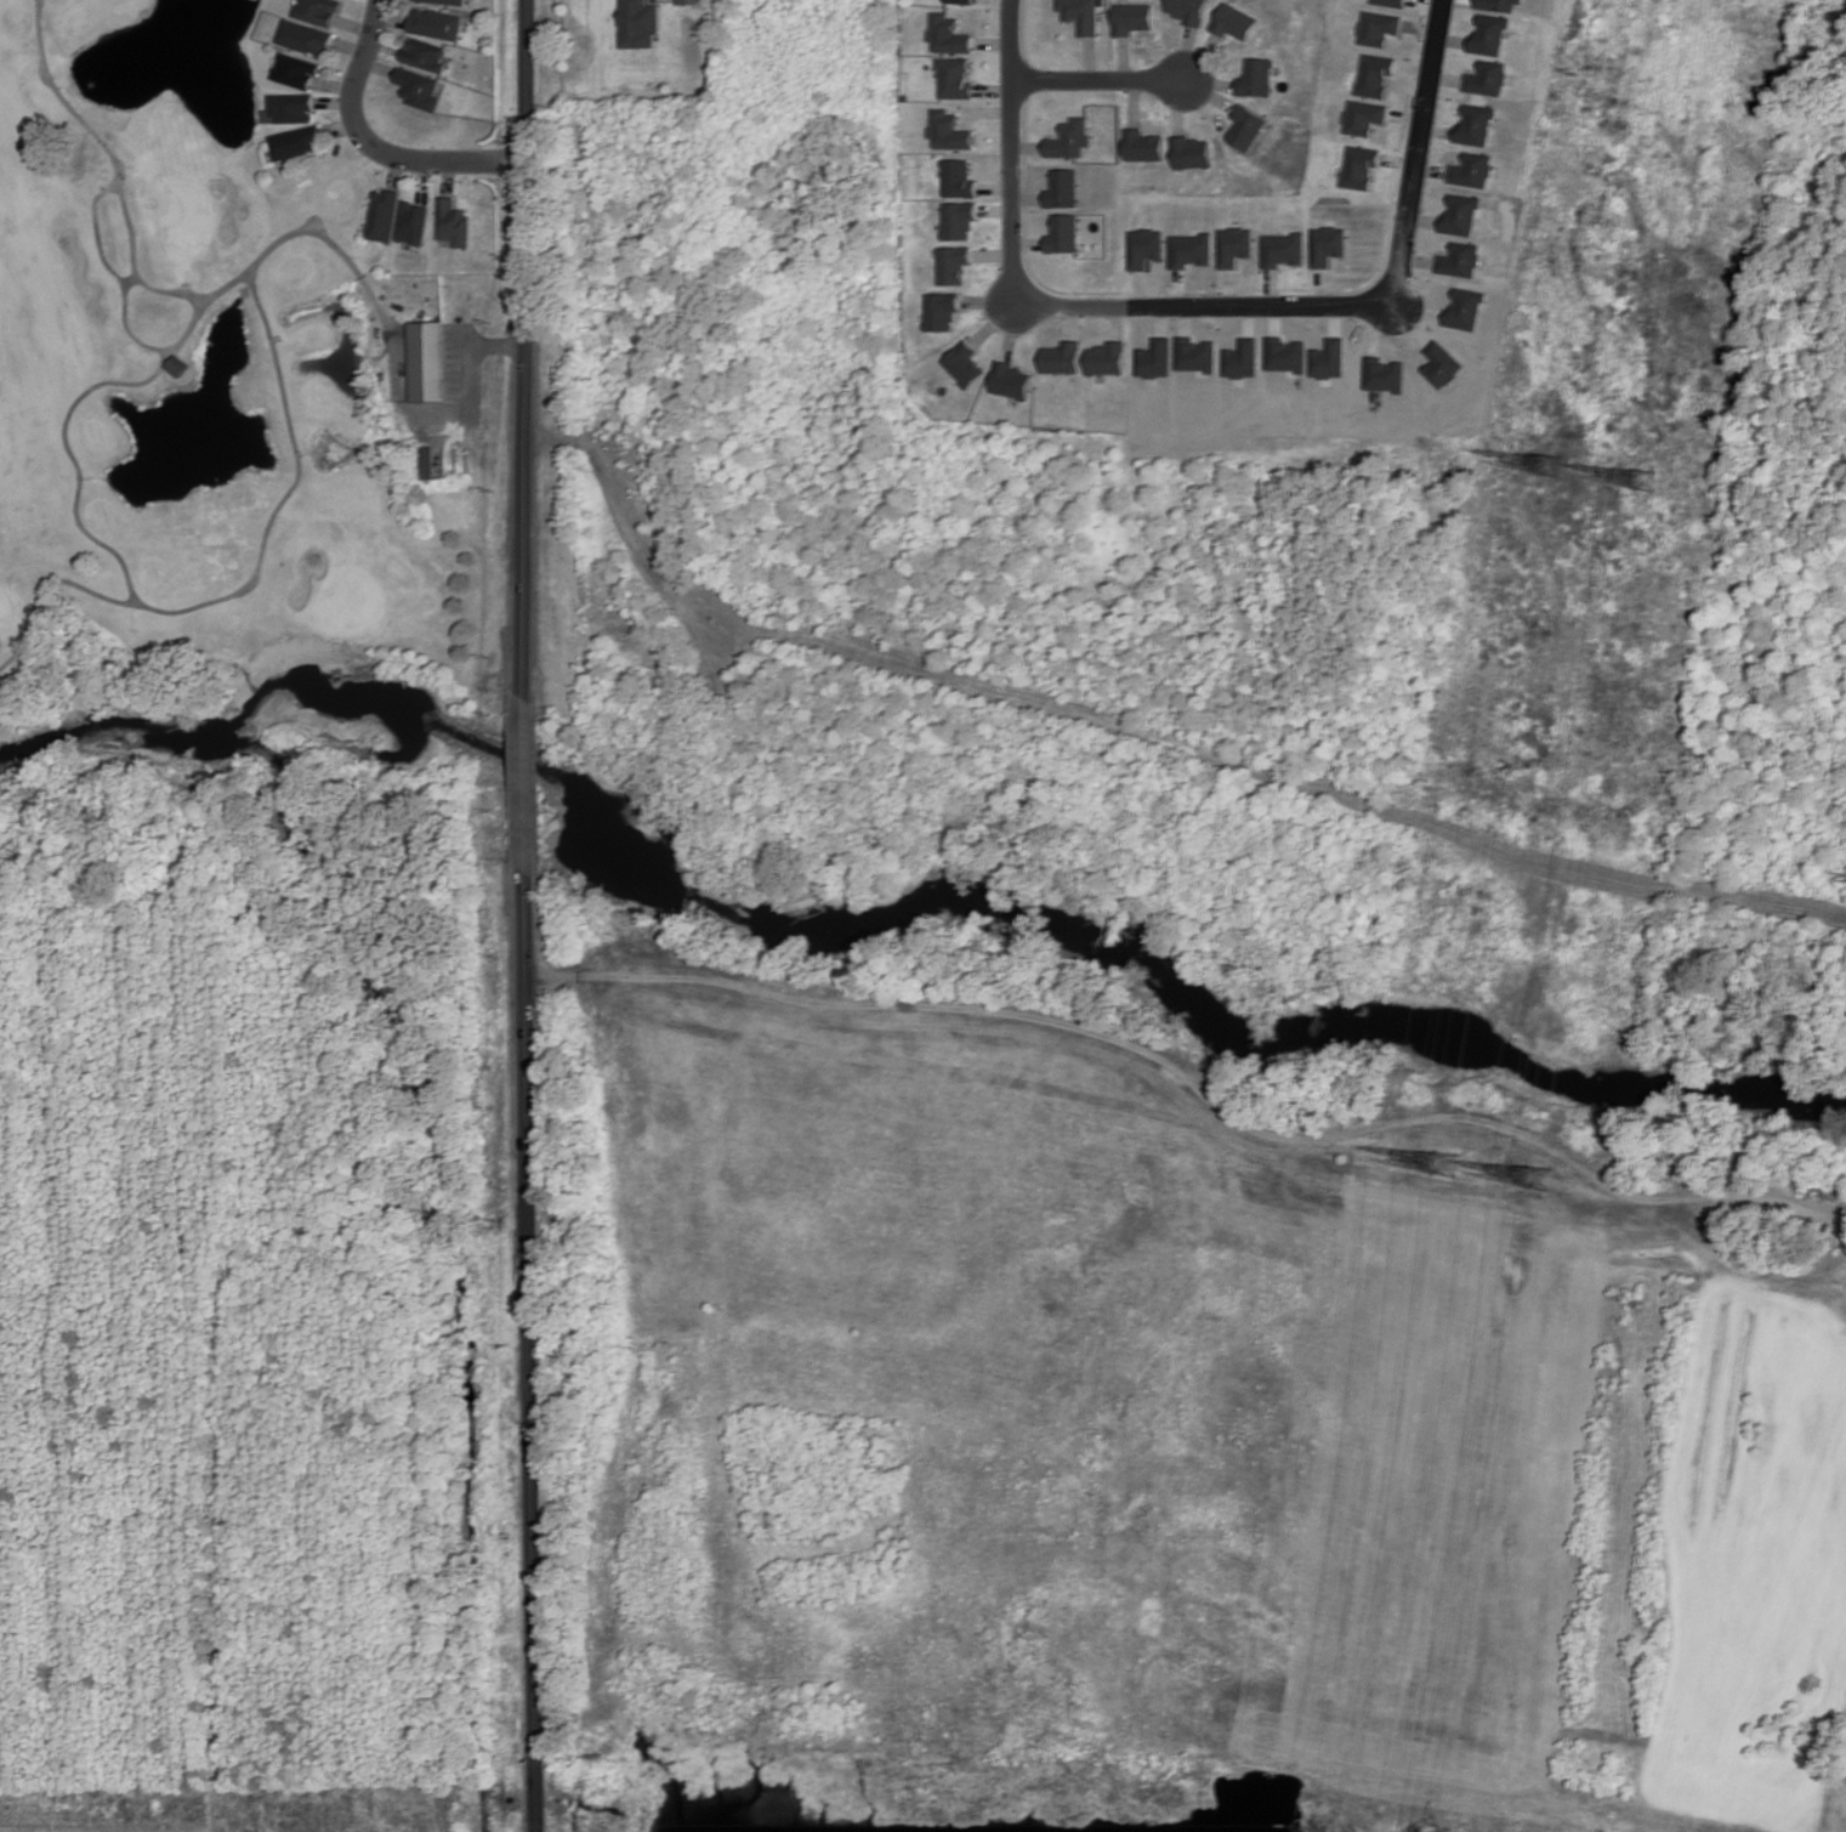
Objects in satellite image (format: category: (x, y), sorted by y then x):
building: (443, 1)
building: (691, 1)
building: (962, 1)
building: (1391, 2)
building: (1499, 5)
building: (318, 11)
building: (1188, 11)
building: (1084, 15)
building: (1134, 18)
building: (1234, 22)
building: (434, 23)
building: (638, 23)
building: (1379, 27)
building: (950, 34)
building: (1489, 34)
building: (303, 36)
road: (1187, 51)
building: (425, 53)
road: (1203, 56)
road: (1092, 57)
road: (1126, 57)
building: (295, 70)
building: (1376, 74)
building: (955, 78)
building: (1256, 78)
building: (1488, 78)
road: (1097, 79)
road: (1210, 80)
building: (419, 87)
road: (1209, 91)
road: (1136, 101)
road: (1176, 104)
building: (289, 108)
building: (1365, 117)
building: (1477, 124)
building: (1246, 126)
building: (950, 130)
building: (1072, 138)
building: (296, 141)
building: (1144, 144)
road: (375, 147)
building: (1192, 152)
building: (1363, 166)
building: (1473, 170)
building: (959, 178)
road: (996, 186)
building: (1063, 188)
road: (1029, 197)
road: (1012, 205)
road: (996, 209)
building: (382, 214)
building: (1462, 215)
building: (959, 219)
building: (413, 222)
building: (453, 222)
building: (1063, 233)
road: (1029, 242)
building: (1330, 244)
building: (1236, 245)
building: (1146, 246)
building: (1191, 249)
building: (1284, 249)
road: (993, 253)
building: (1462, 260)
building: (954, 263)
road: (1029, 265)
road: (1398, 280)
road: (989, 300)
building: (942, 311)
road: (995, 321)
road: (1073, 321)
road: (1118, 321)
road: (1012, 328)
road: (504, 342)
building: (1195, 355)
building: (1286, 355)
building: (1061, 358)
building: (1106, 358)
building: (1155, 358)
building: (1243, 358)
building: (1330, 358)
building: (428, 361)
building: (965, 363)
building: (1443, 364)
building: (177, 365)
road: (472, 370)
building: (1386, 374)
building: (1011, 380)
building: (427, 461)
power tower: (1551, 471)
power tower: (1646, 484)
road: (535, 915)
power tower: (1450, 1165)
power tower: (1544, 1181)

